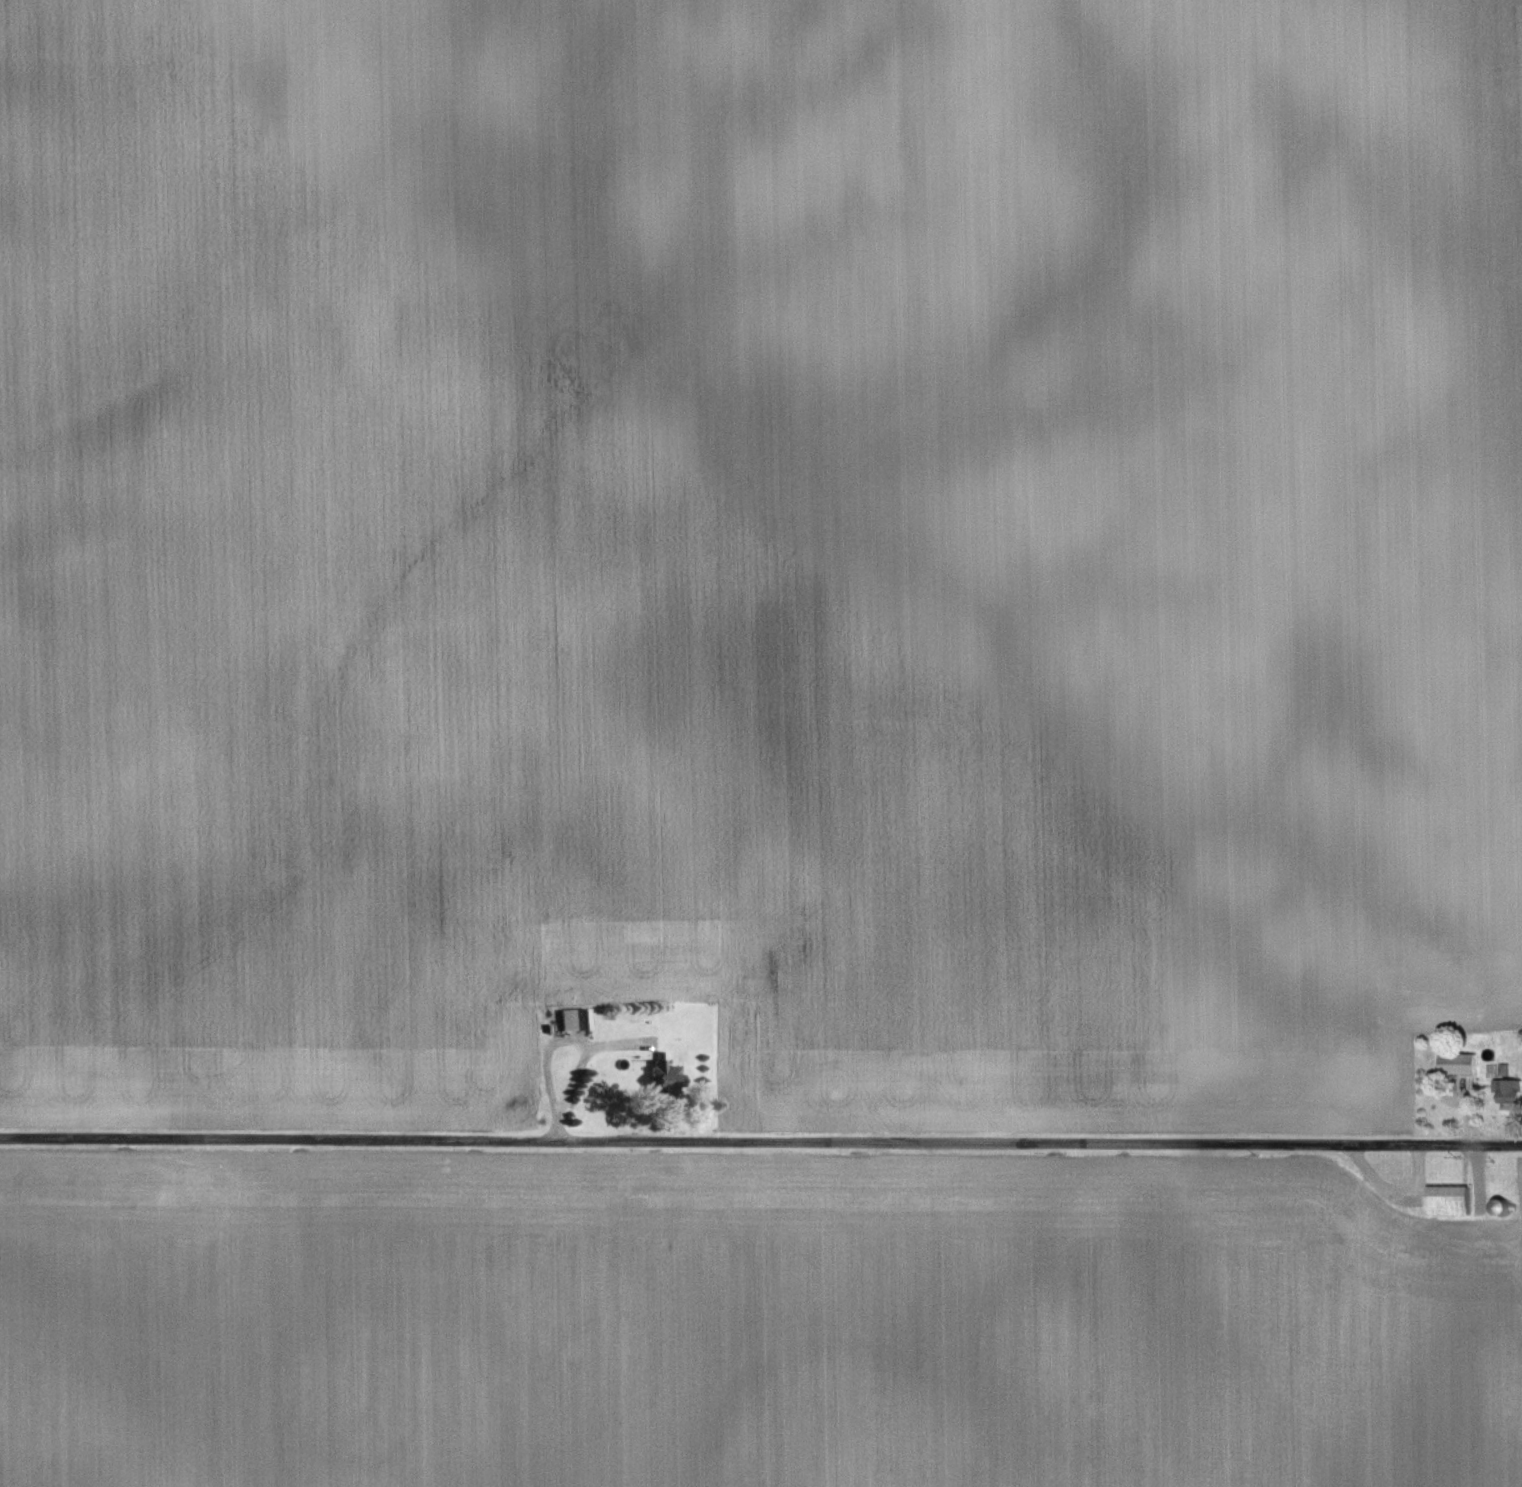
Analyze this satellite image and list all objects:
building: (575, 1018)
building: (1455, 1063)
building: (667, 1076)
building: (1506, 1094)
road: (761, 1139)
building: (1445, 1200)

